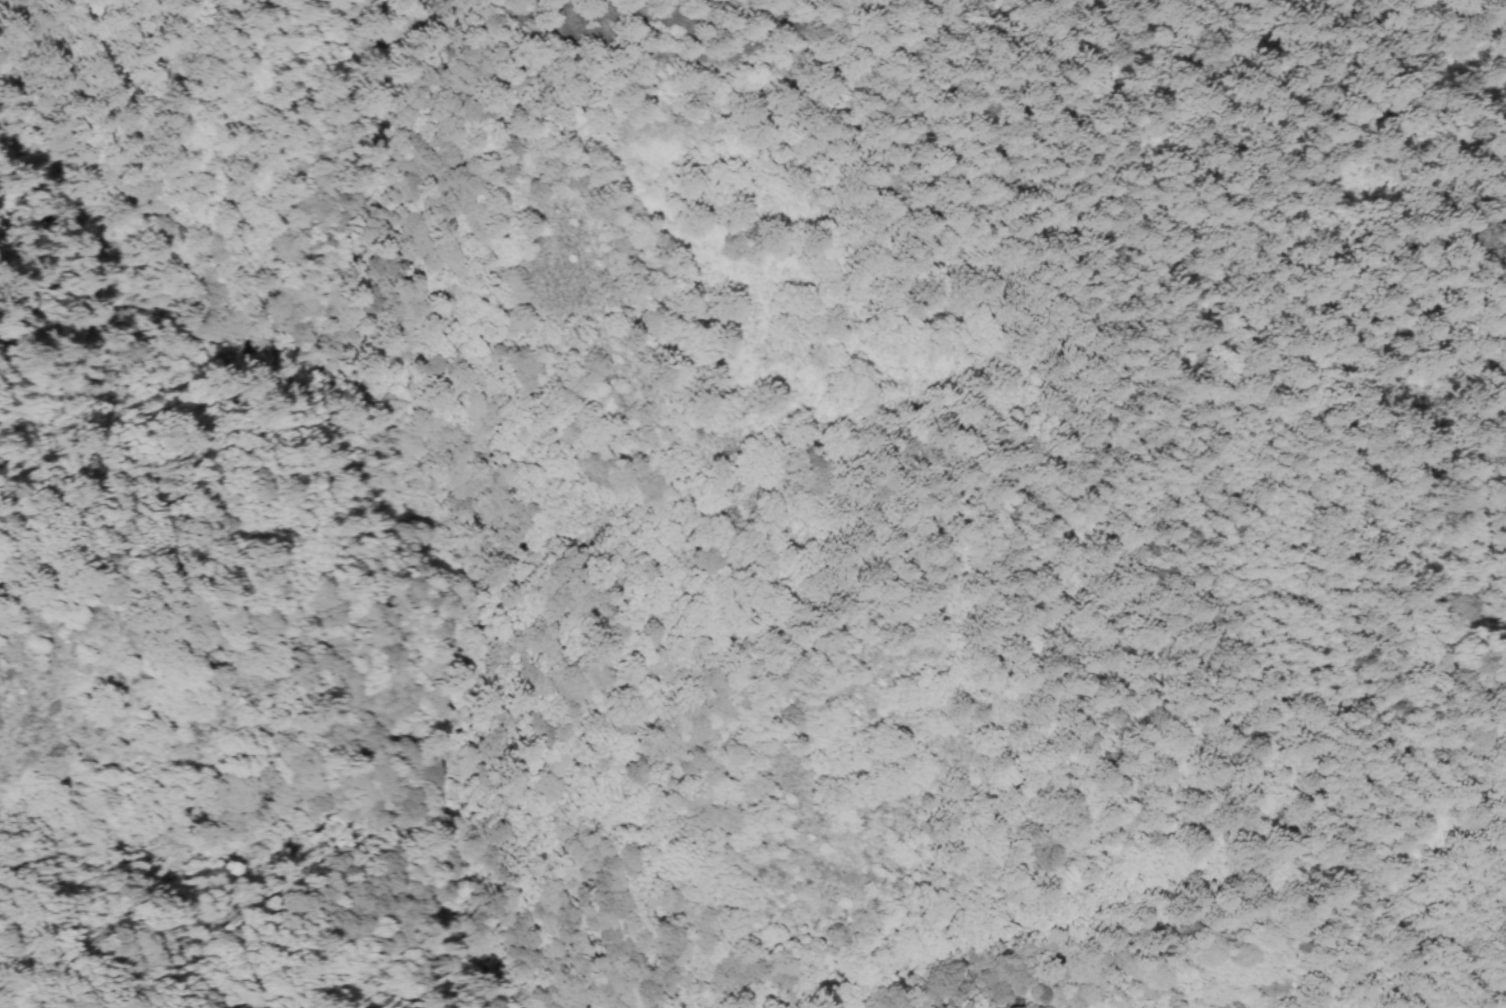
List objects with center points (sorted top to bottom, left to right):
road: (1144, 370)

